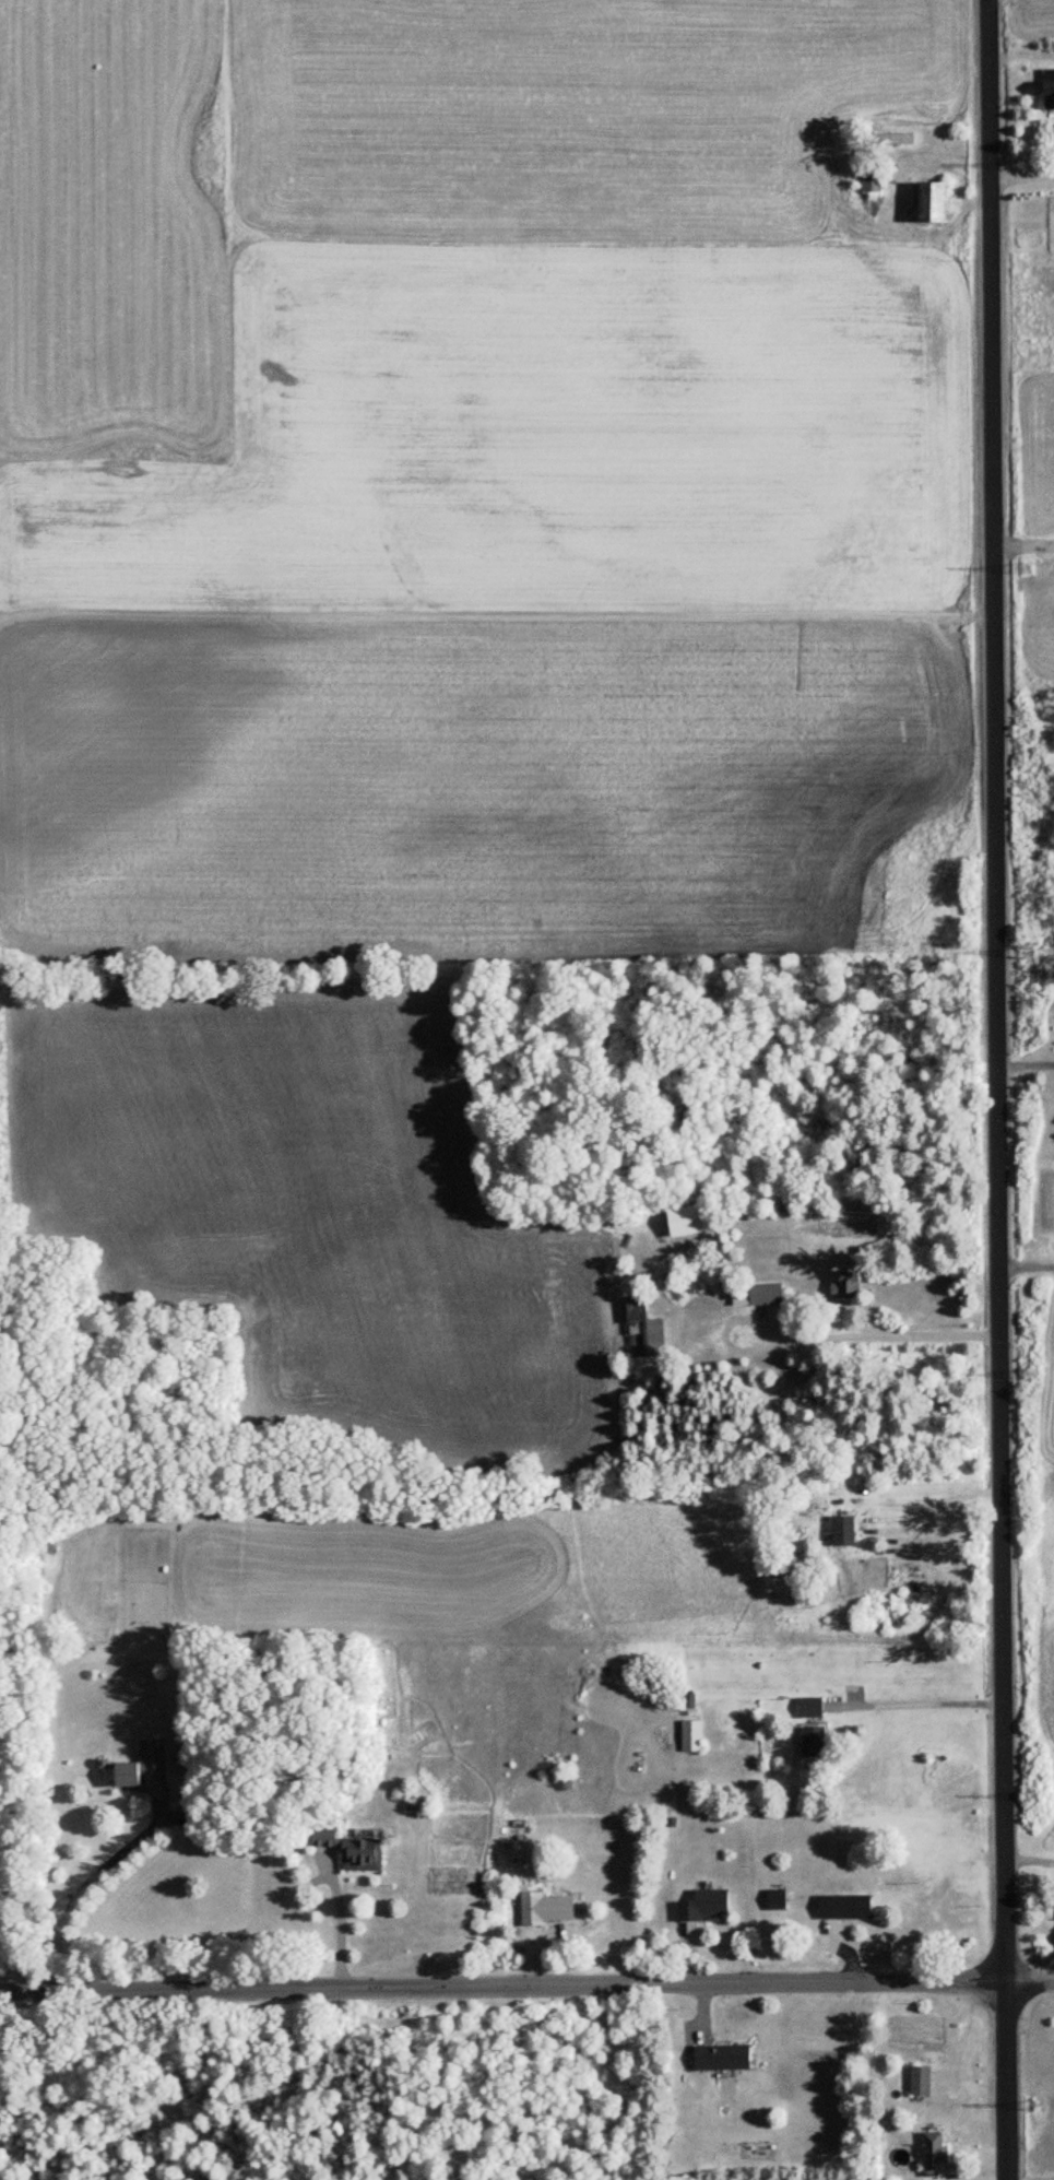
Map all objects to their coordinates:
building: (1050, 87)
building: (889, 138)
power tower: (1023, 164)
road: (1021, 177)
building: (872, 178)
building: (933, 201)
road: (1023, 546)
power tower: (1028, 567)
power tower: (1029, 952)
road: (1026, 1069)
road: (997, 1089)
building: (684, 1221)
road: (1026, 1271)
building: (845, 1286)
building: (766, 1295)
building: (644, 1331)
road: (834, 1348)
power tower: (1035, 1372)
road: (943, 1508)
building: (844, 1532)
building: (812, 1707)
road: (931, 1707)
building: (692, 1735)
building: (814, 1742)
building: (139, 1774)
power tower: (1035, 1794)
building: (351, 1849)
road: (85, 1885)
building: (777, 1900)
building: (706, 1905)
building: (557, 1907)
building: (844, 1907)
road: (337, 1930)
road: (526, 1989)
building: (722, 2057)
building: (921, 2082)
power tower: (1040, 2105)
building: (935, 2150)

